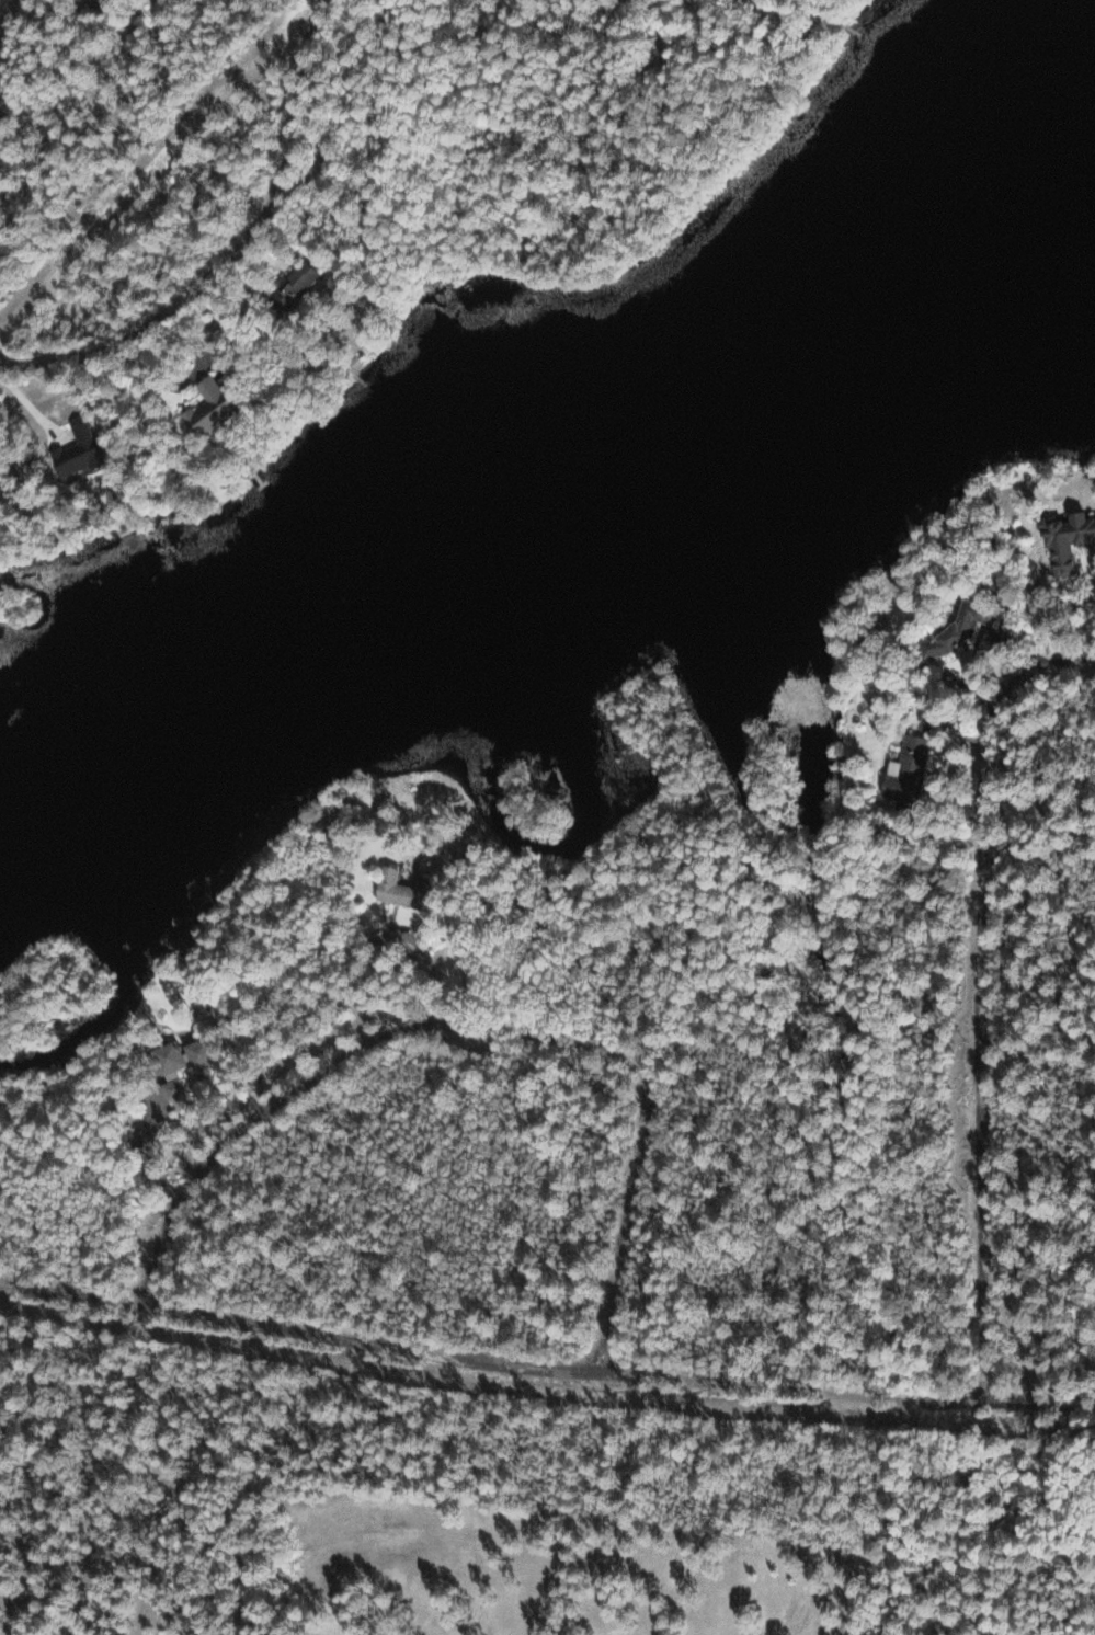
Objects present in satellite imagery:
road: (7, 56)
road: (238, 254)
building: (300, 283)
building: (215, 405)
building: (85, 447)
building: (1072, 540)
building: (965, 627)
building: (910, 769)
building: (404, 889)
road: (981, 999)
road: (481, 1030)
building: (207, 1052)
building: (175, 1056)
road: (545, 1370)

